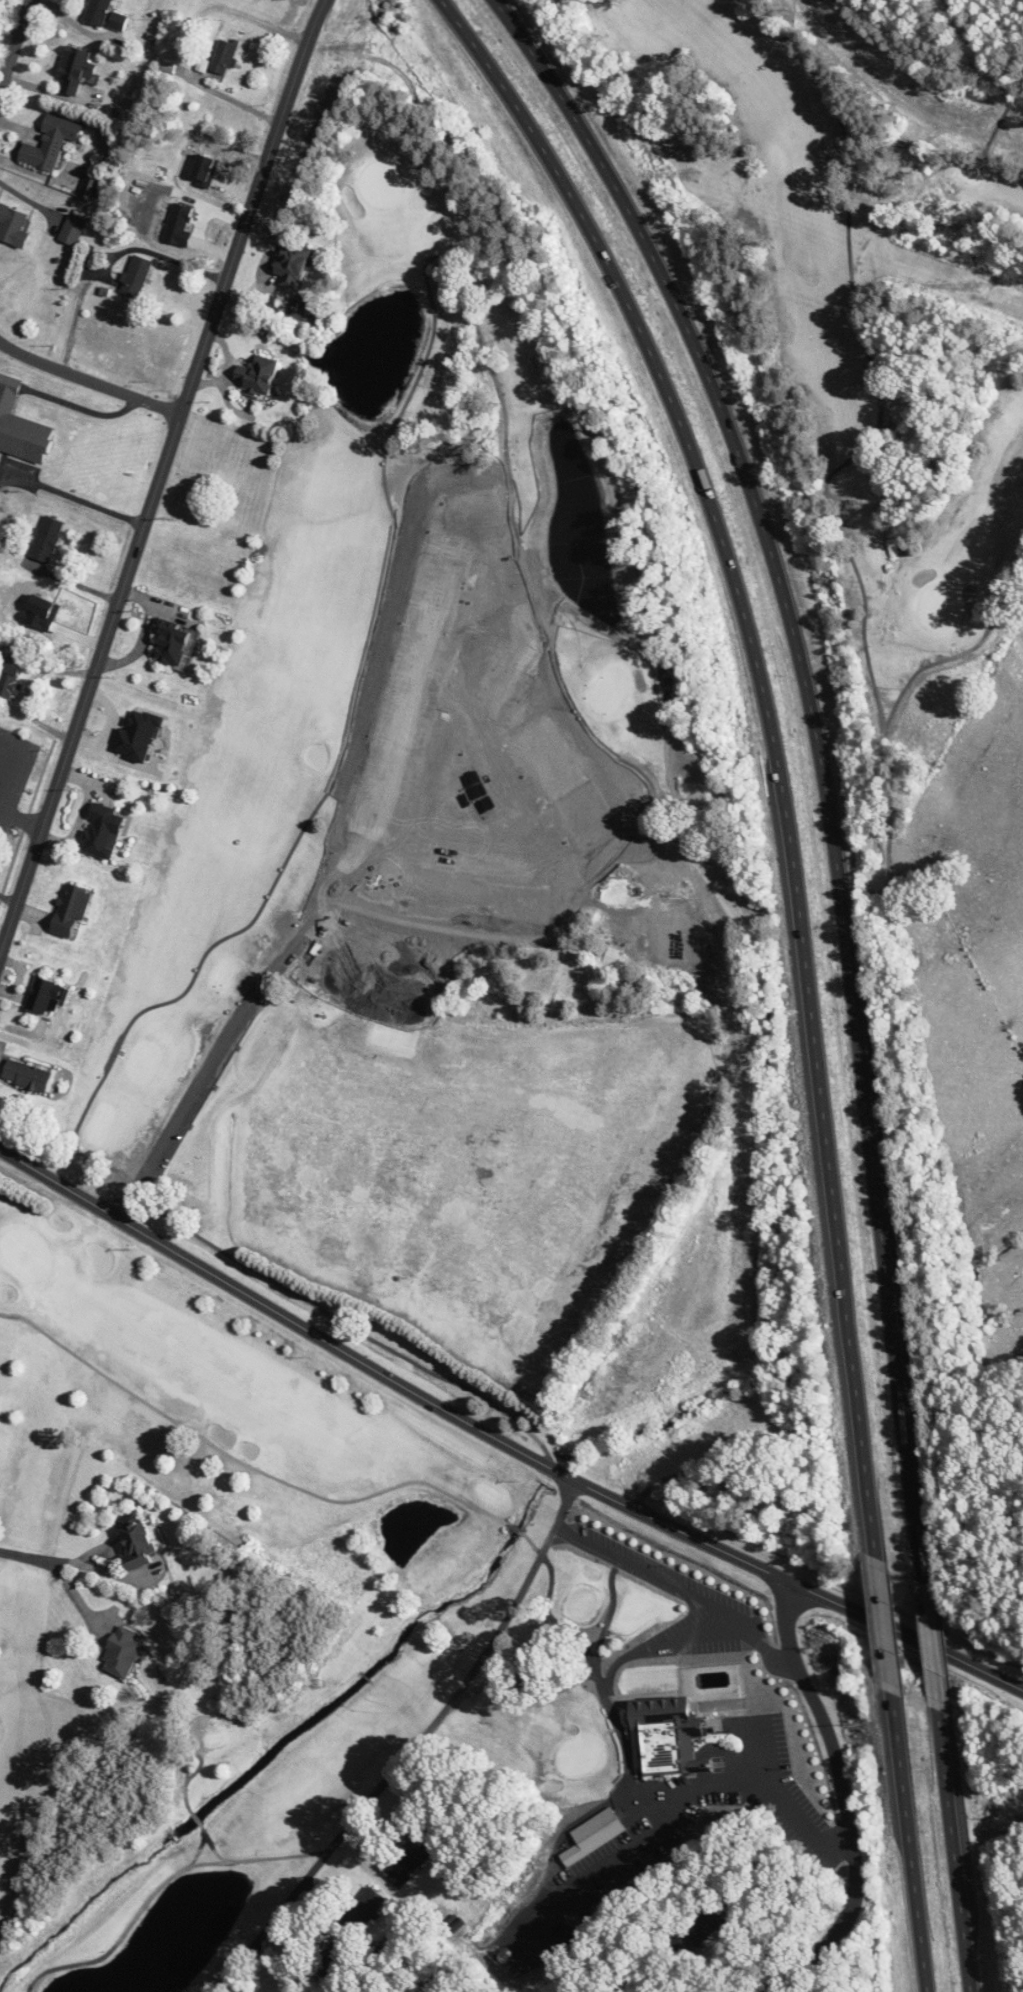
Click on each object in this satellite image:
building: (104, 15)
road: (15, 45)
power tower: (370, 47)
building: (223, 58)
building: (75, 70)
road: (237, 101)
building: (51, 143)
power tower: (696, 174)
building: (90, 187)
building: (12, 226)
building: (73, 227)
road: (111, 261)
building: (292, 266)
building: (136, 275)
power tower: (972, 287)
building: (258, 375)
road: (4, 377)
road: (89, 379)
road: (72, 403)
building: (20, 426)
road: (160, 475)
road: (72, 493)
building: (46, 538)
building: (171, 641)
building: (10, 676)
road: (772, 742)
road: (3, 743)
road: (822, 755)
road: (20, 817)
building: (103, 831)
building: (634, 860)
building: (70, 908)
building: (672, 933)
building: (44, 995)
park: (472, 1011)
building: (28, 1075)
road: (177, 1123)
road: (996, 1382)
road: (500, 1438)
building: (678, 1487)
building: (136, 1540)
road: (32, 1558)
road: (113, 1573)
road: (652, 1573)
road: (881, 1627)
road: (931, 1647)
building: (121, 1652)
building: (667, 1735)
road: (411, 1748)
road: (628, 1759)
road: (846, 1805)
building: (593, 1835)
road: (909, 1844)
road: (957, 1853)
building: (412, 1861)
building: (364, 1911)
building: (331, 1958)
building: (296, 1991)

